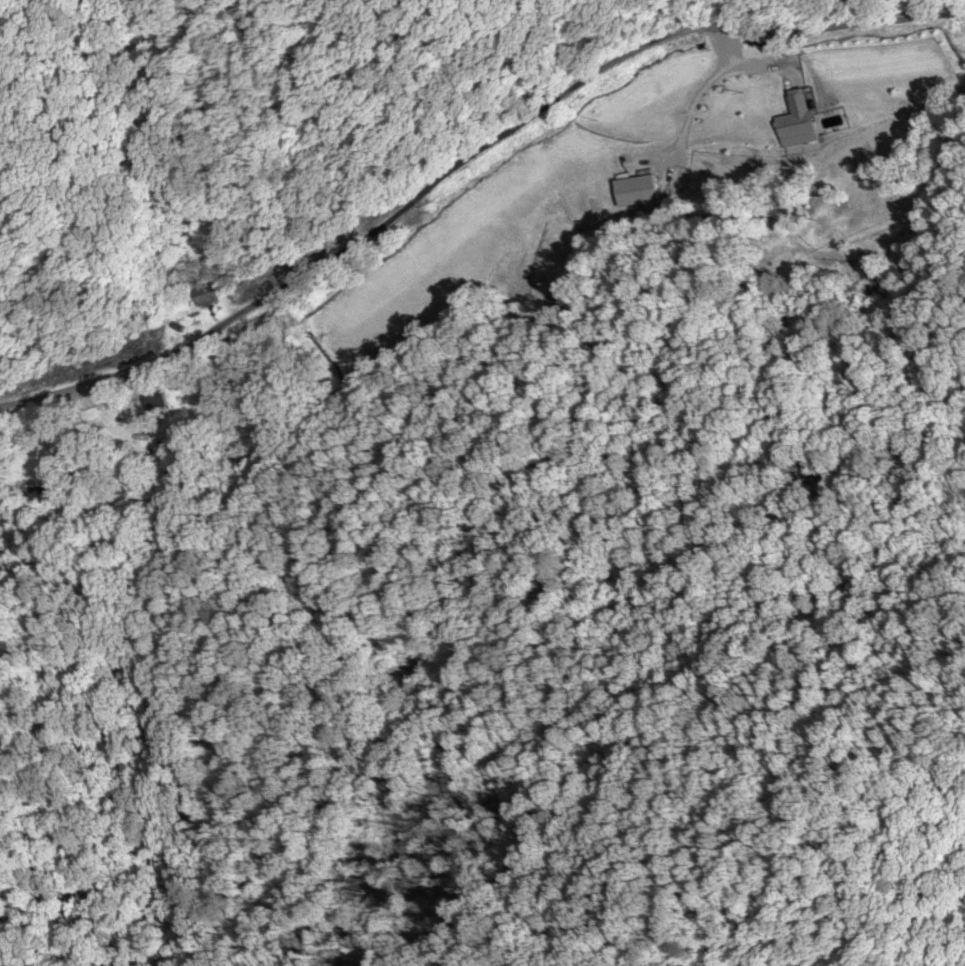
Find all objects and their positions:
building: (799, 119)
road: (465, 158)
building: (639, 189)
building: (208, 298)

